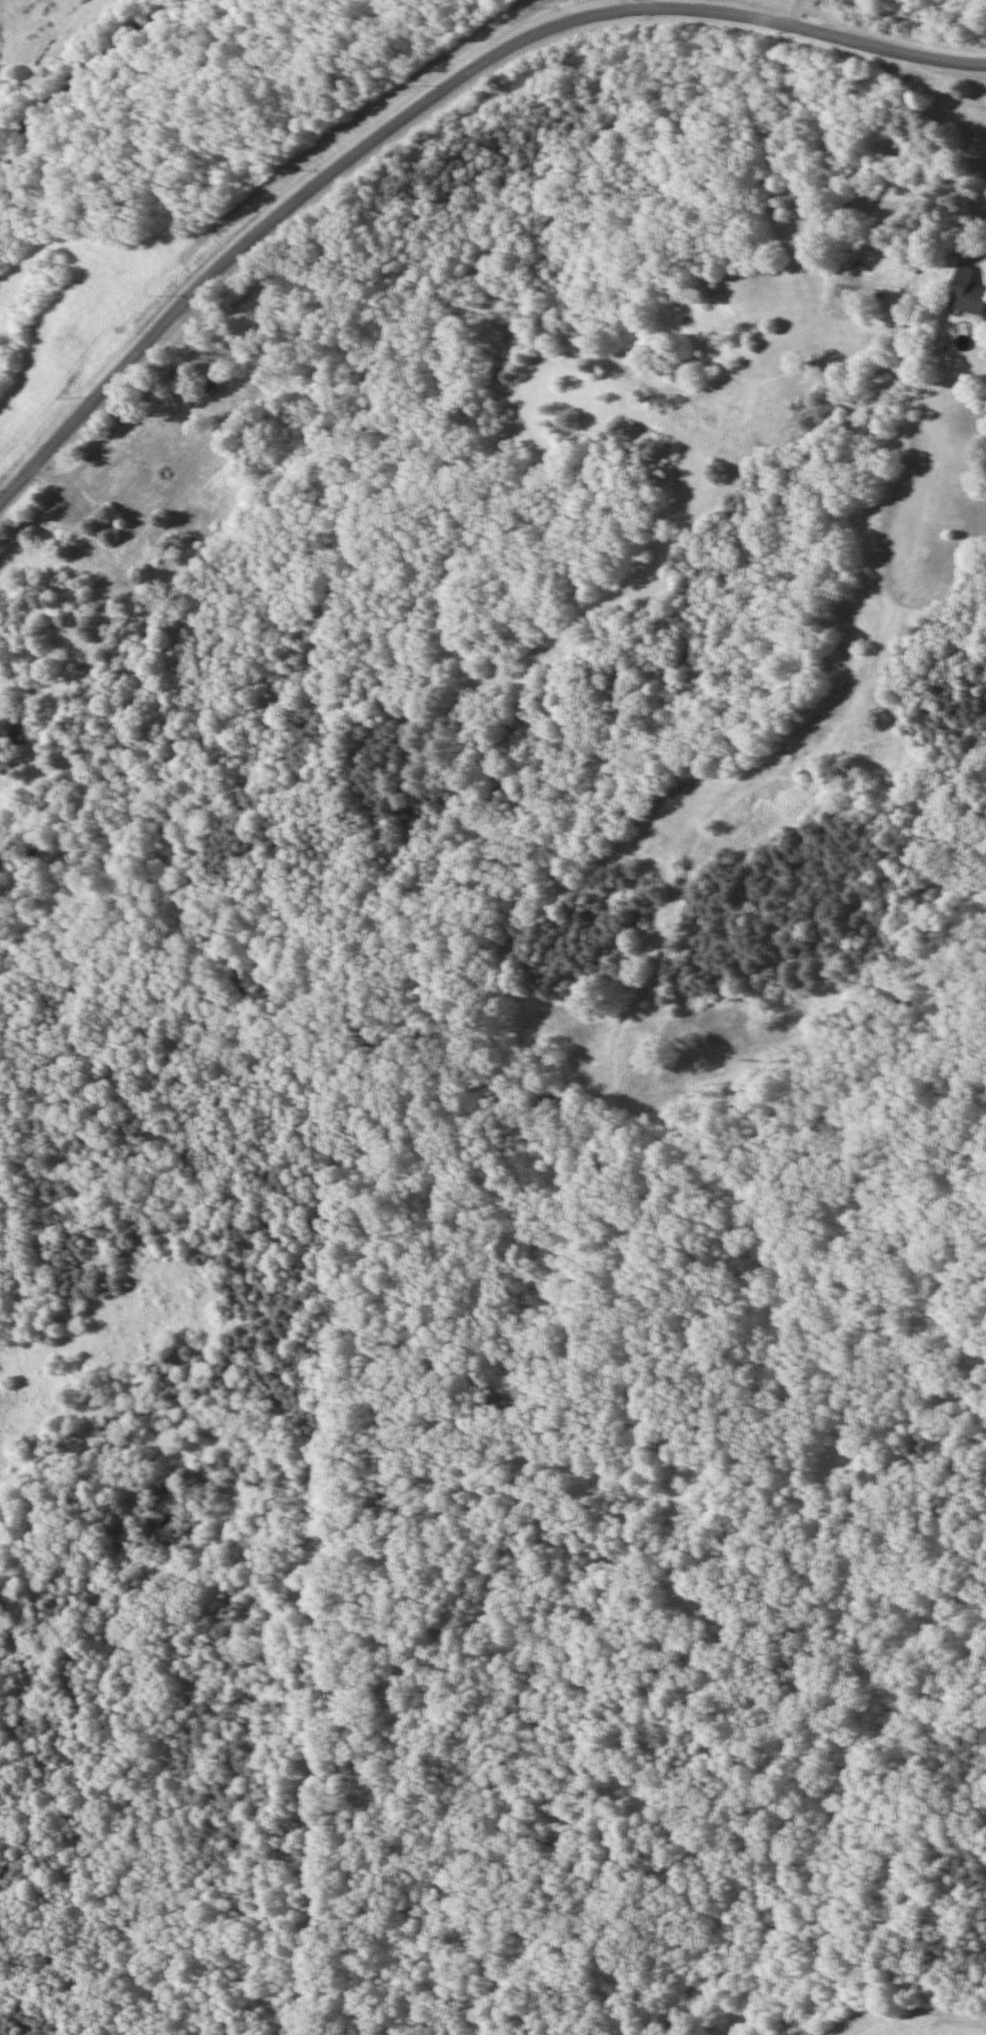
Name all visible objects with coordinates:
road: (794, 13)
road: (908, 21)
road: (423, 89)
building: (964, 291)
road: (136, 406)

